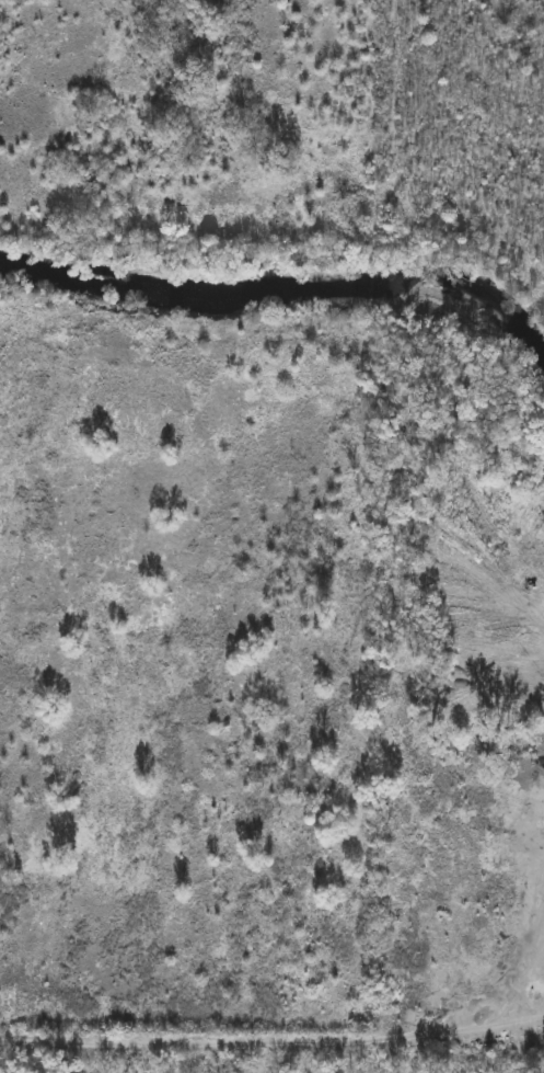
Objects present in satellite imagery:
building: (448, 865)
building: (461, 904)
road: (218, 1042)

